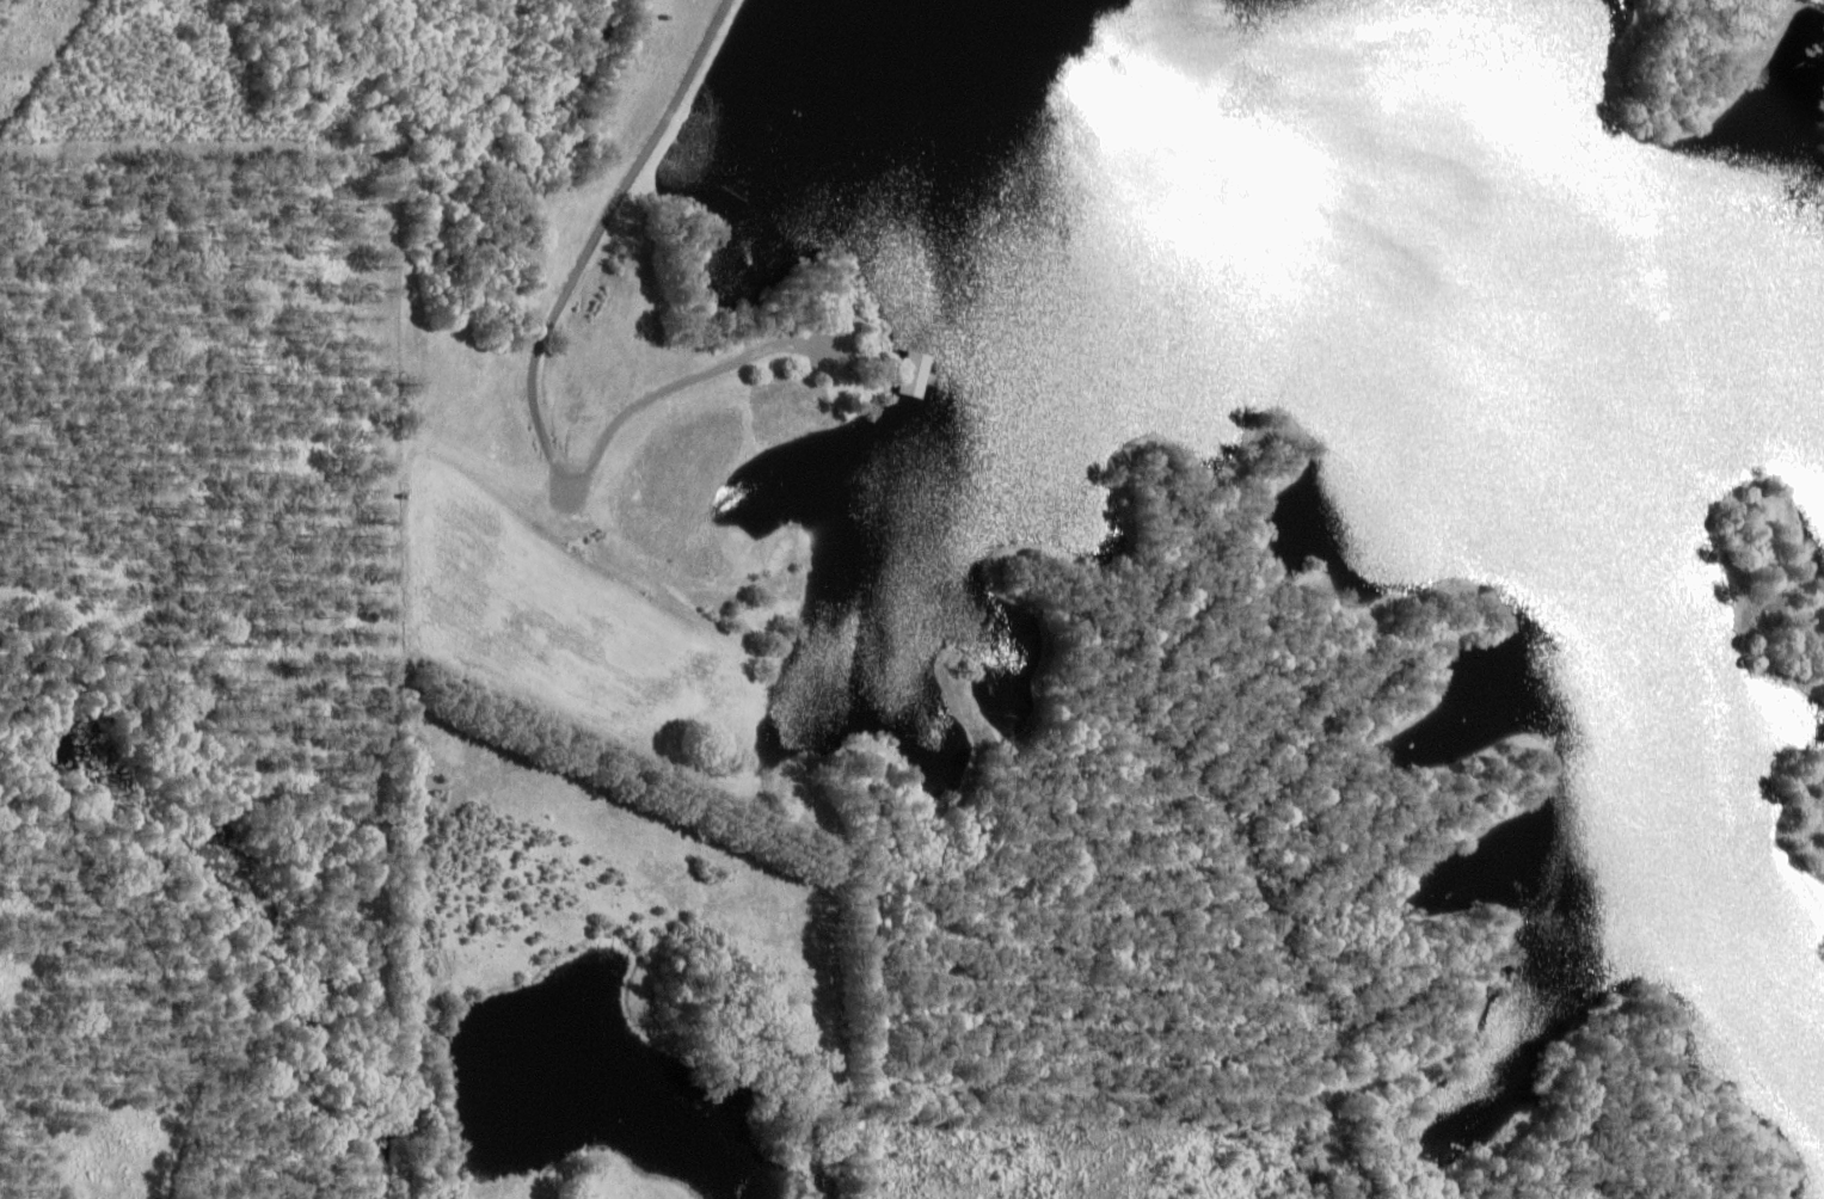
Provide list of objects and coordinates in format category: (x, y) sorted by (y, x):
building: (909, 379)

